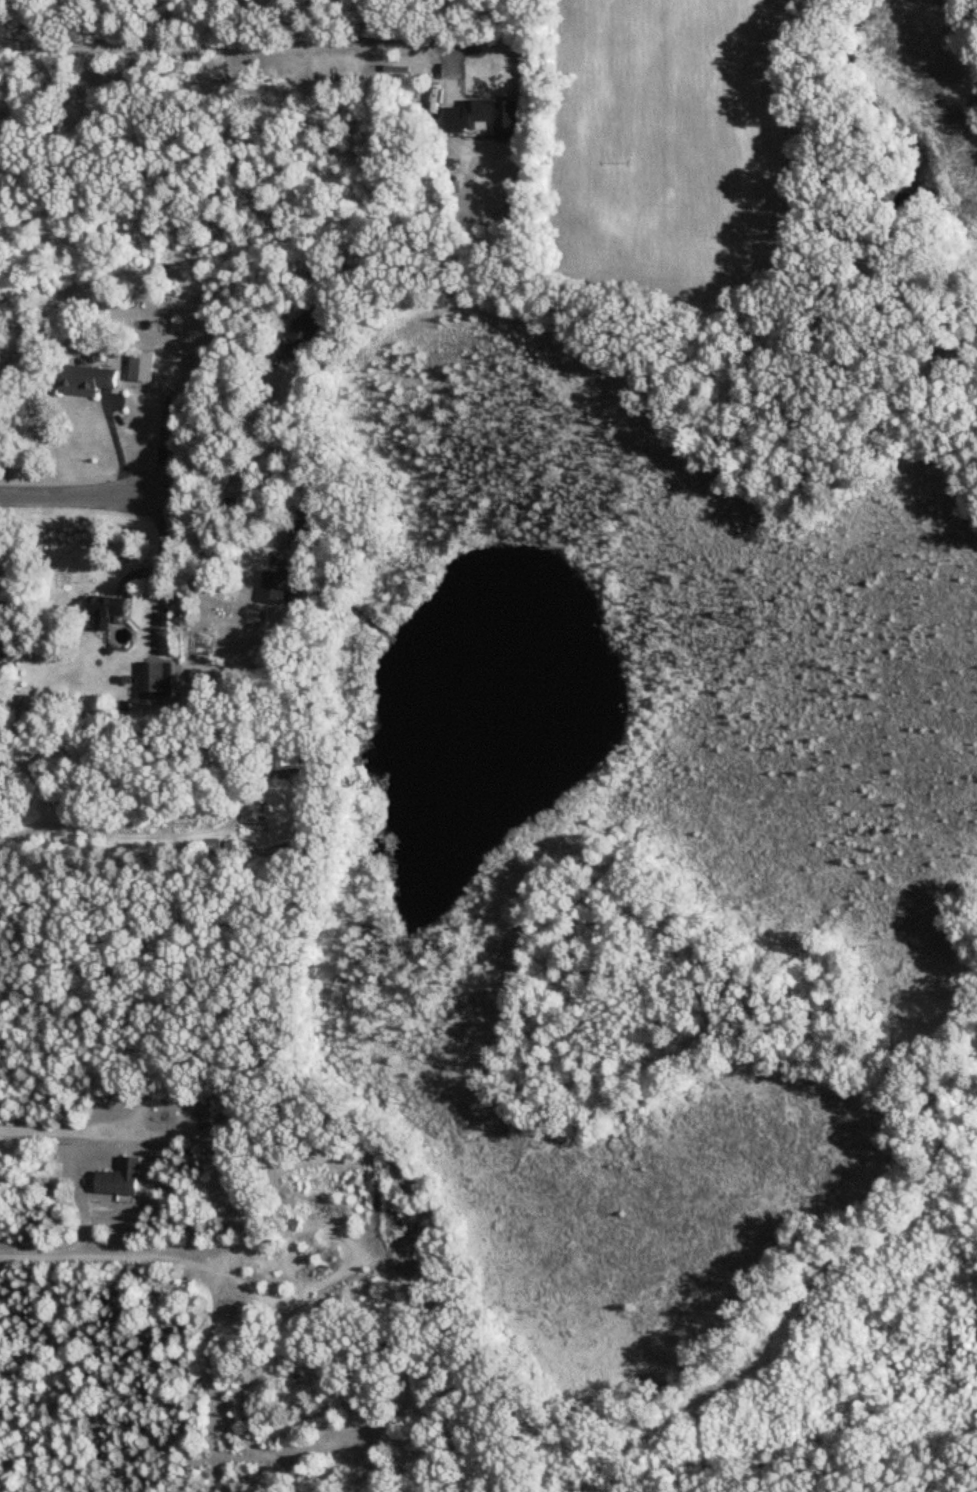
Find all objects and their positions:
road: (245, 49)
building: (480, 117)
building: (305, 334)
building: (142, 359)
building: (88, 382)
road: (113, 450)
road: (73, 491)
road: (151, 536)
building: (275, 588)
building: (108, 612)
building: (155, 681)
road: (101, 742)
building: (292, 763)
building: (59, 840)
building: (210, 845)
road: (146, 1104)
road: (71, 1126)
building: (120, 1181)
road: (199, 1264)

